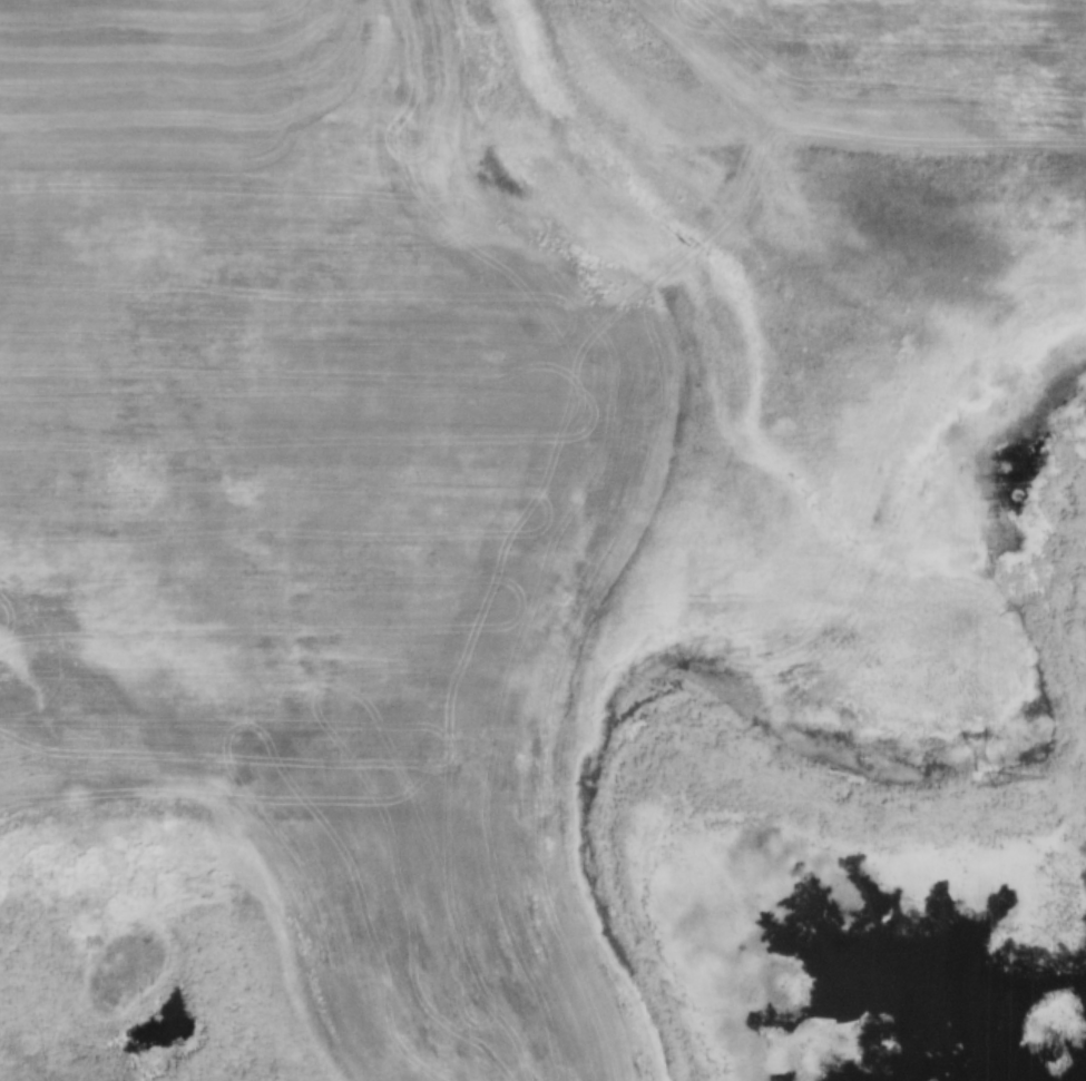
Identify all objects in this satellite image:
power tower: (979, 776)

